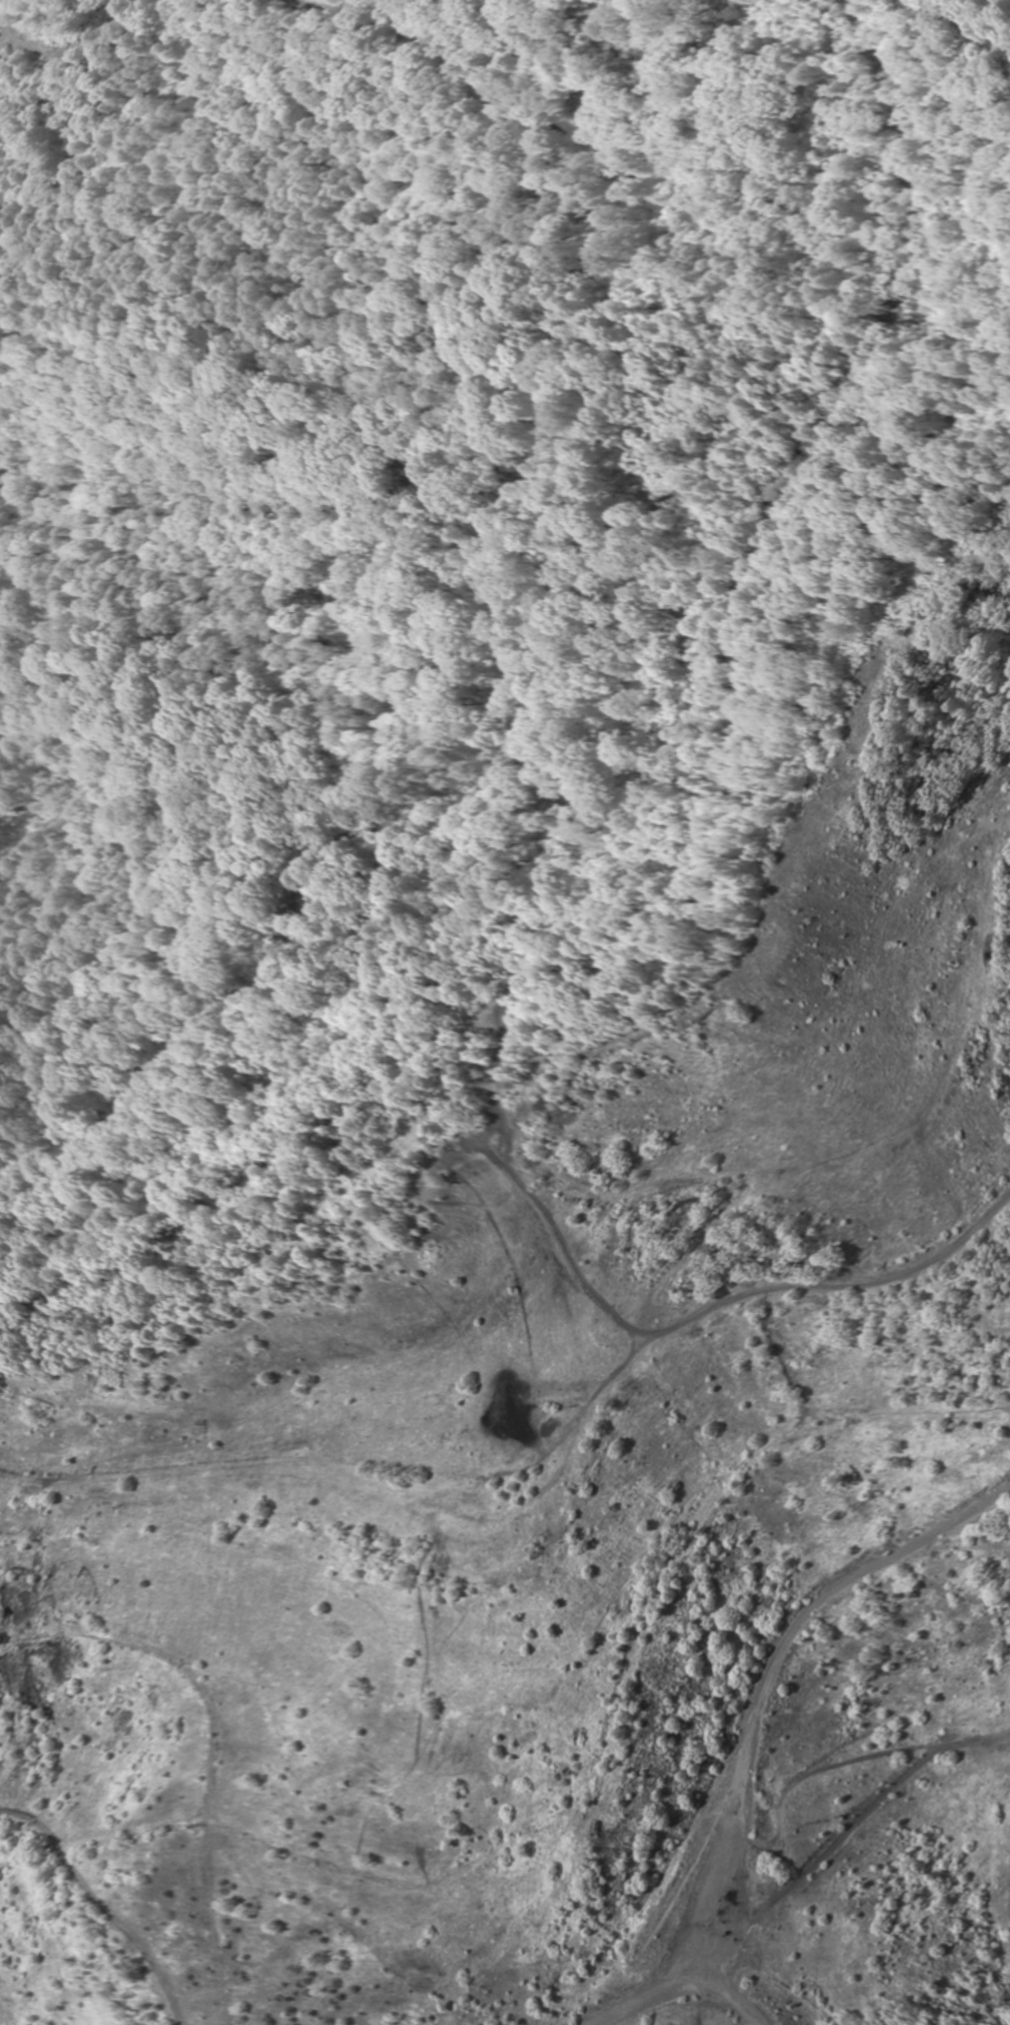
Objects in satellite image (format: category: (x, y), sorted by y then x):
road: (97, 901)
road: (762, 1733)
road: (770, 1990)

